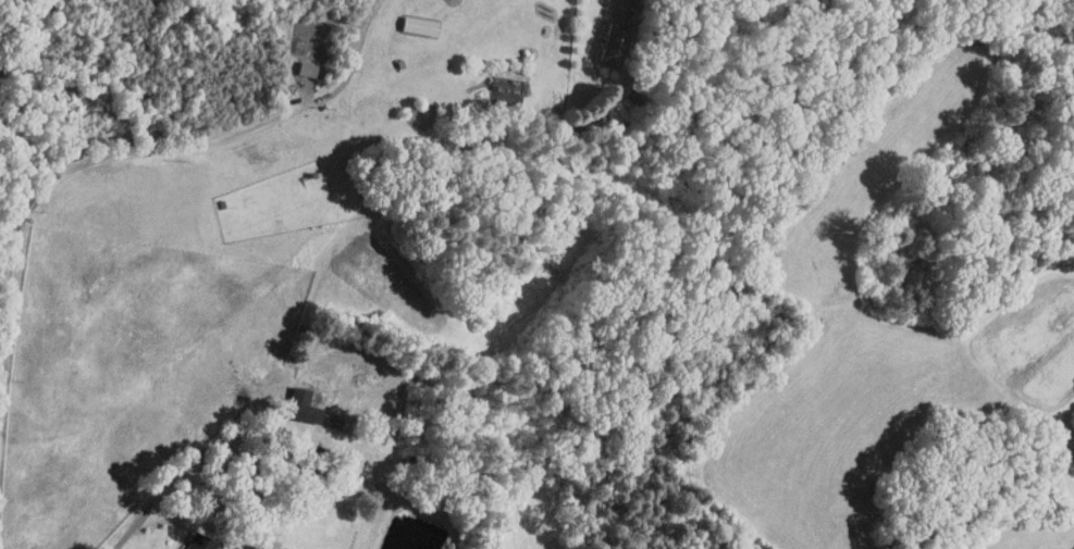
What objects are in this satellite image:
building: (616, 42)
building: (308, 67)
building: (510, 86)
road: (148, 150)
building: (305, 404)
road: (190, 461)
building: (201, 541)

